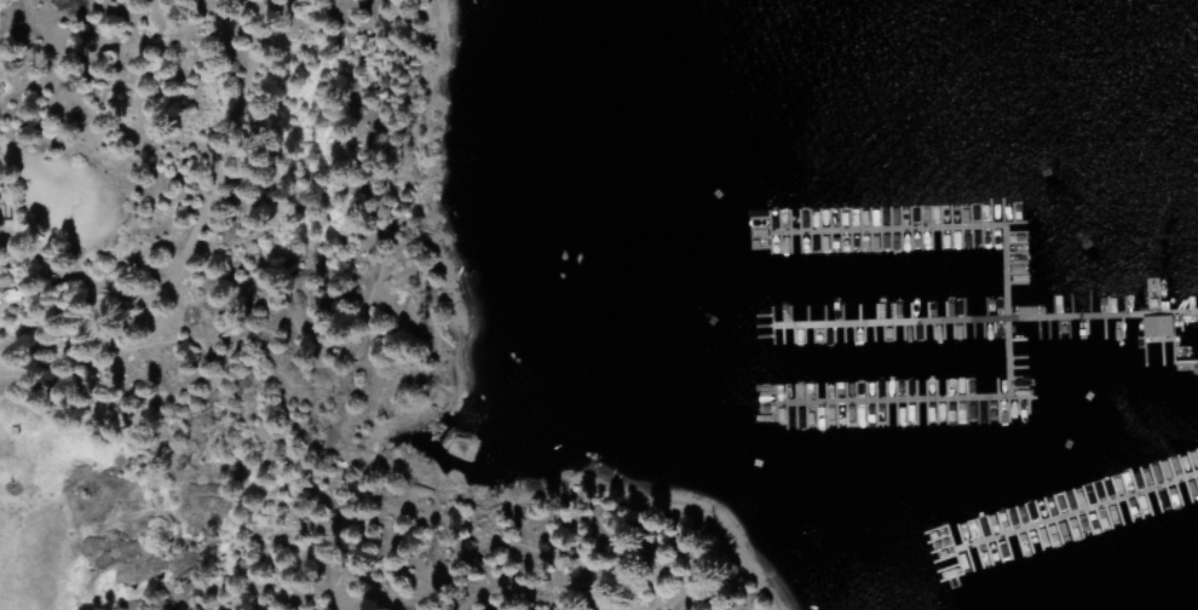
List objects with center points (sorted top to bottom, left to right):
road: (1171, 108)
pier: (849, 194)
pier: (860, 205)
road: (190, 236)
building: (980, 271)
pier: (822, 277)
road: (370, 293)
building: (1150, 327)
pier: (799, 386)
pier: (937, 472)
road: (414, 524)
road: (448, 597)

